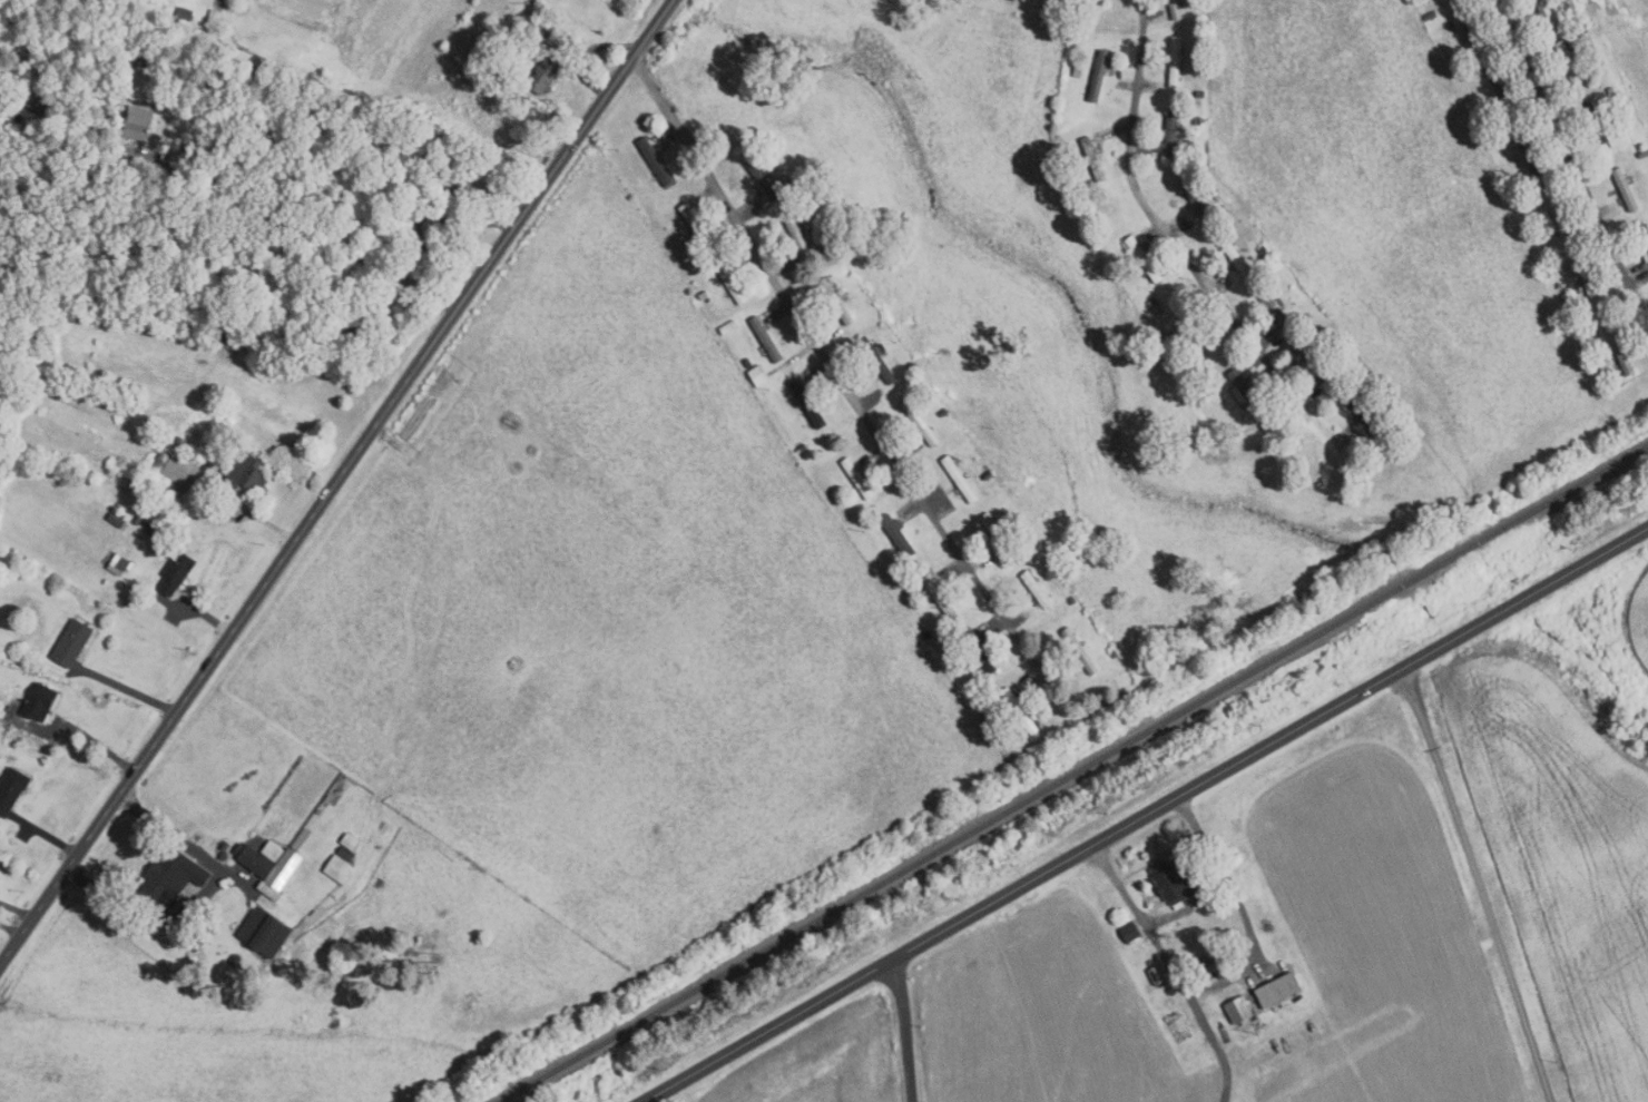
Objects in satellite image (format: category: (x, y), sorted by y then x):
building: (1011, 0)
building: (1100, 0)
building: (1174, 9)
building: (1543, 9)
building: (1430, 16)
building: (183, 17)
building: (214, 17)
building: (1473, 30)
building: (1588, 32)
building: (200, 36)
road: (588, 53)
building: (140, 57)
building: (252, 60)
building: (1174, 61)
building: (1568, 62)
building: (1077, 72)
building: (539, 75)
building: (1098, 77)
building: (1499, 88)
building: (1611, 92)
building: (1199, 95)
building: (410, 115)
building: (138, 122)
building: (1595, 122)
building: (95, 124)
building: (1168, 137)
building: (1529, 152)
building: (1642, 155)
road: (1572, 158)
building: (1092, 159)
building: (655, 161)
building: (403, 169)
building: (96, 170)
building: (762, 178)
building: (638, 186)
building: (786, 186)
building: (1625, 190)
building: (453, 191)
building: (1510, 193)
building: (1195, 199)
building: (1556, 214)
building: (691, 218)
road: (304, 230)
building: (1526, 234)
building: (1644, 234)
building: (796, 238)
road: (1173, 242)
building: (1262, 248)
building: (1233, 255)
building: (1267, 255)
building: (1142, 259)
building: (1271, 263)
building: (1585, 278)
building: (730, 283)
building: (1559, 286)
building: (1563, 297)
building: (836, 301)
building: (1155, 305)
building: (1277, 313)
building: (355, 315)
building: (1305, 316)
building: (229, 323)
building: (727, 326)
building: (1308, 328)
building: (1199, 329)
building: (766, 340)
building: (1618, 352)
building: (1345, 358)
building: (877, 361)
building: (746, 362)
building: (1317, 363)
building: (1352, 364)
building: (912, 366)
road: (833, 370)
building: (758, 374)
building: (1361, 376)
building: (1208, 377)
building: (1246, 391)
building: (806, 404)
building: (942, 412)
building: (1361, 415)
building: (919, 422)
building: (179, 441)
building: (802, 446)
building: (807, 453)
building: (171, 466)
building: (244, 472)
building: (987, 474)
building: (856, 476)
building: (960, 480)
road: (337, 484)
building: (115, 519)
building: (137, 519)
road: (262, 521)
building: (1020, 527)
building: (149, 529)
building: (1024, 534)
building: (897, 535)
building: (999, 537)
building: (117, 564)
building: (1052, 571)
building: (174, 572)
building: (1036, 589)
building: (908, 590)
building: (941, 599)
building: (1072, 600)
road: (204, 613)
building: (70, 641)
building: (1079, 651)
building: (979, 653)
building: (1115, 653)
road: (127, 689)
building: (36, 701)
building: (1020, 710)
building: (987, 716)
road: (95, 740)
railway: (1075, 773)
building: (11, 787)
road: (1147, 814)
road: (48, 835)
building: (298, 838)
building: (347, 840)
building: (224, 845)
building: (271, 850)
building: (344, 853)
building: (252, 859)
building: (336, 868)
building: (278, 874)
building: (170, 877)
building: (1173, 883)
road: (1480, 885)
road: (206, 895)
road: (18, 911)
building: (262, 932)
building: (1129, 932)
building: (1155, 974)
road: (1229, 977)
building: (1275, 991)
building: (1237, 1008)
road: (909, 1030)
road: (1022, 1101)

